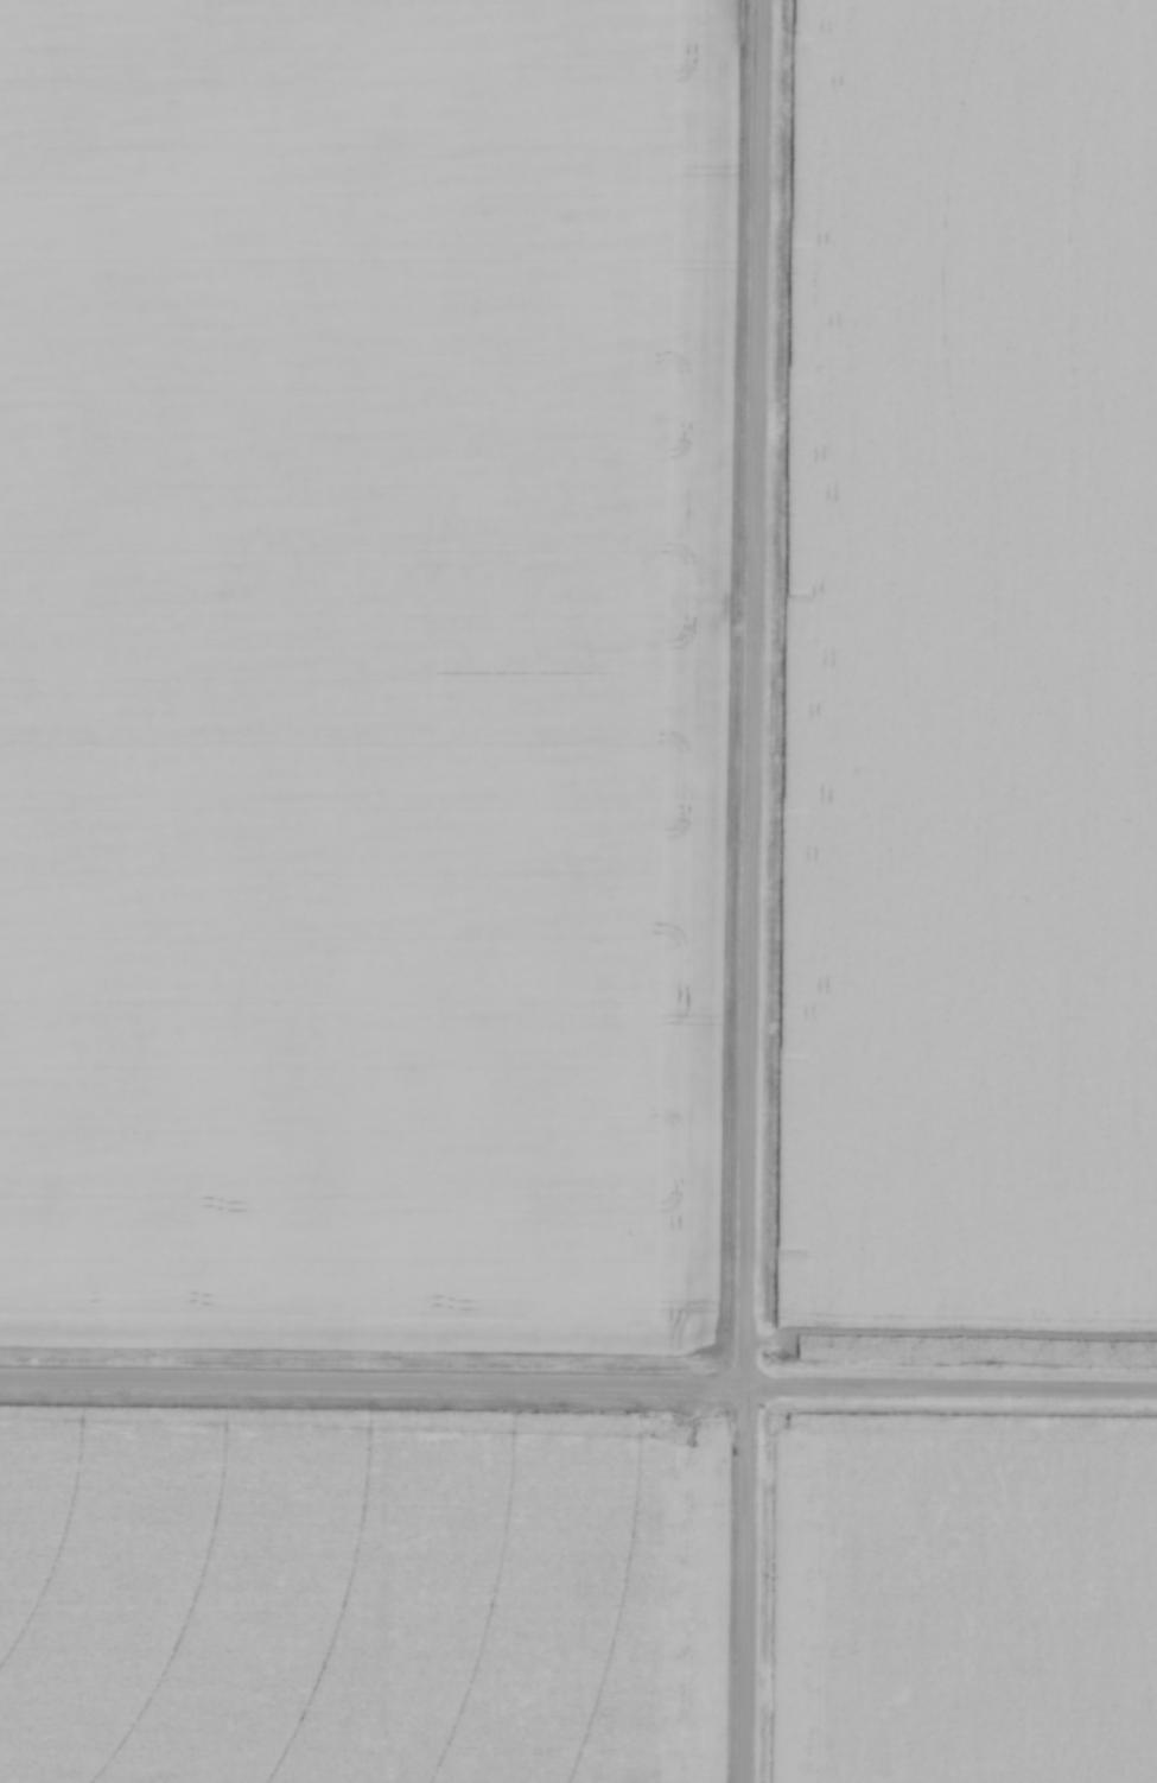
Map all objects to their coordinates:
road: (743, 890)
road: (578, 1385)

